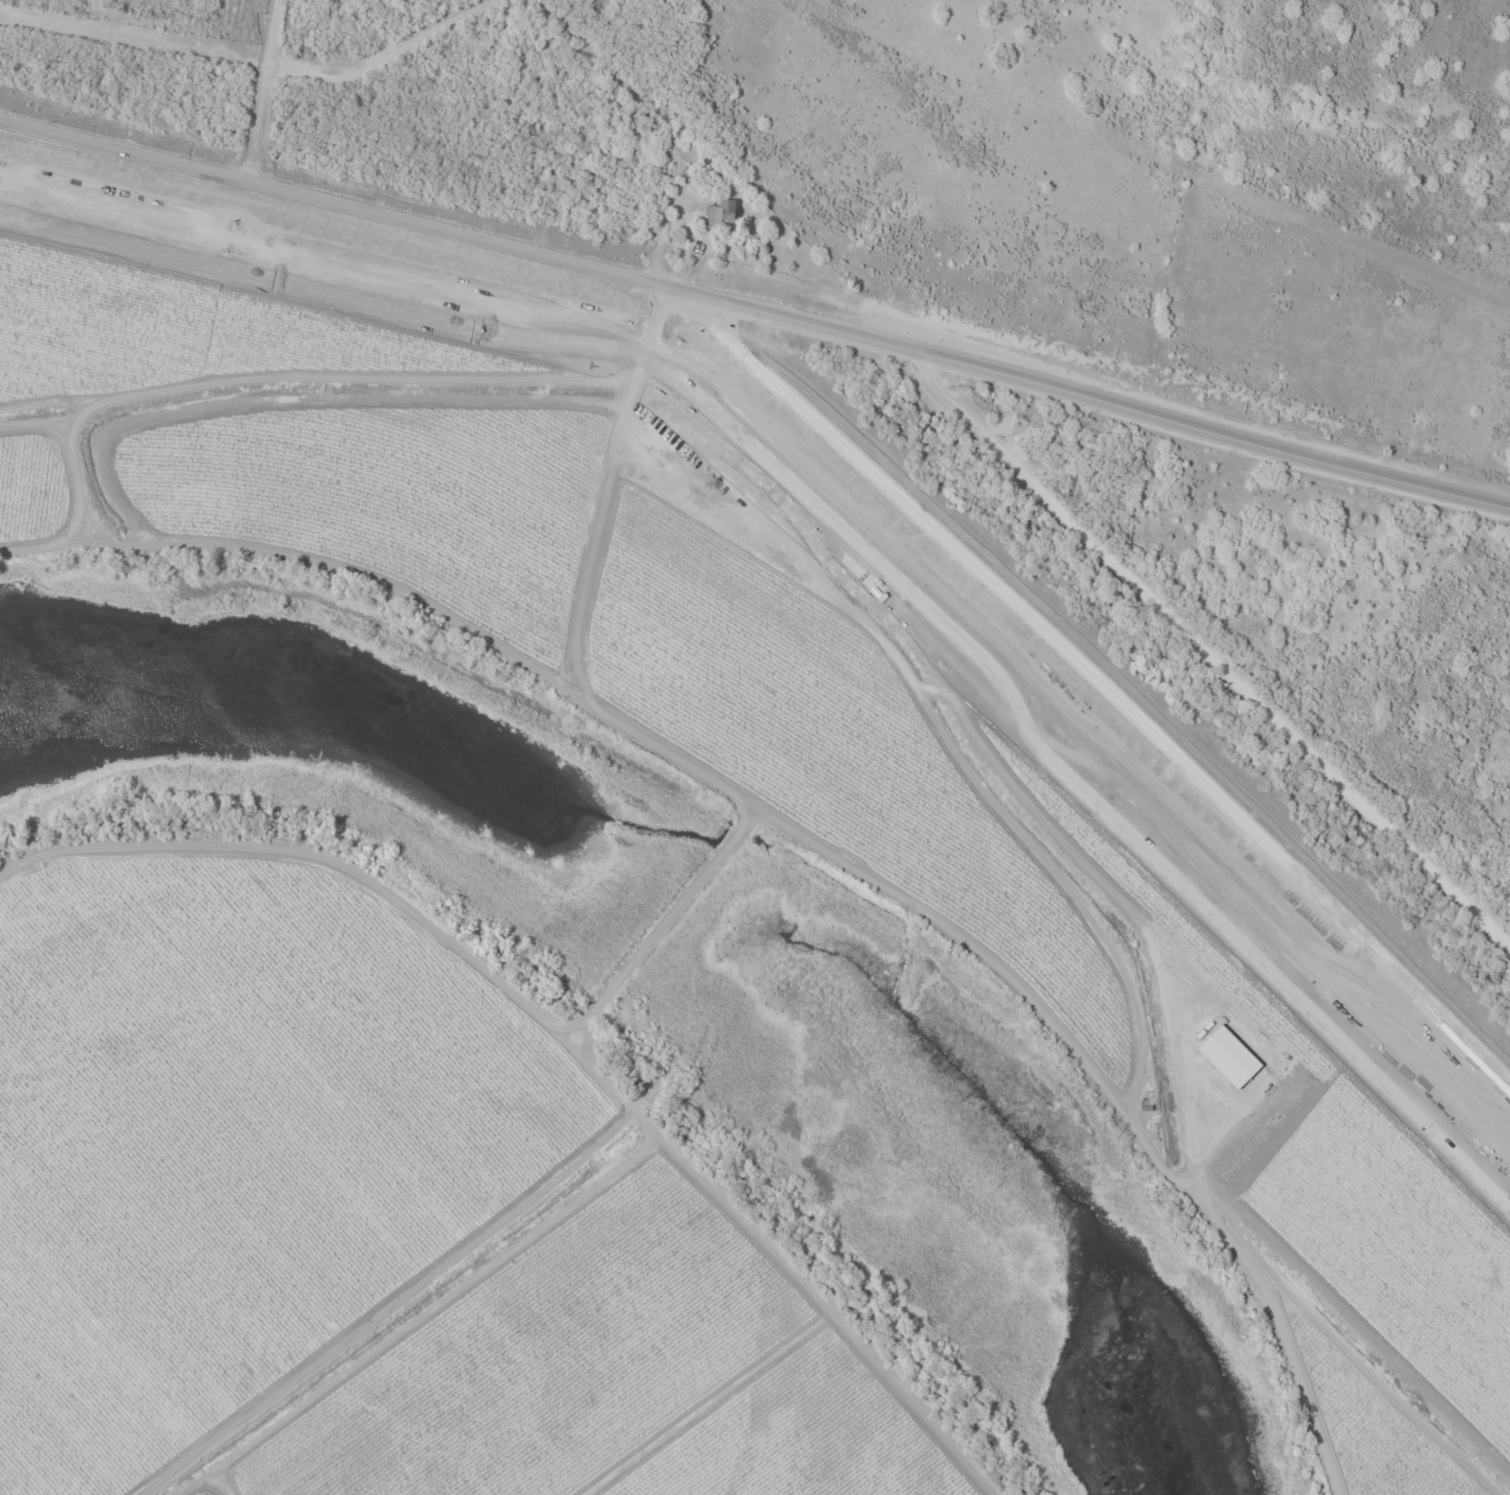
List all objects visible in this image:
road: (264, 91)
building: (689, 177)
building: (720, 213)
road: (465, 233)
road: (315, 377)
road: (1219, 435)
road: (76, 516)
building: (886, 580)
building: (908, 600)
road: (1209, 652)
road: (1095, 679)
road: (879, 884)
road: (662, 924)
road: (562, 1035)
road: (380, 1301)

